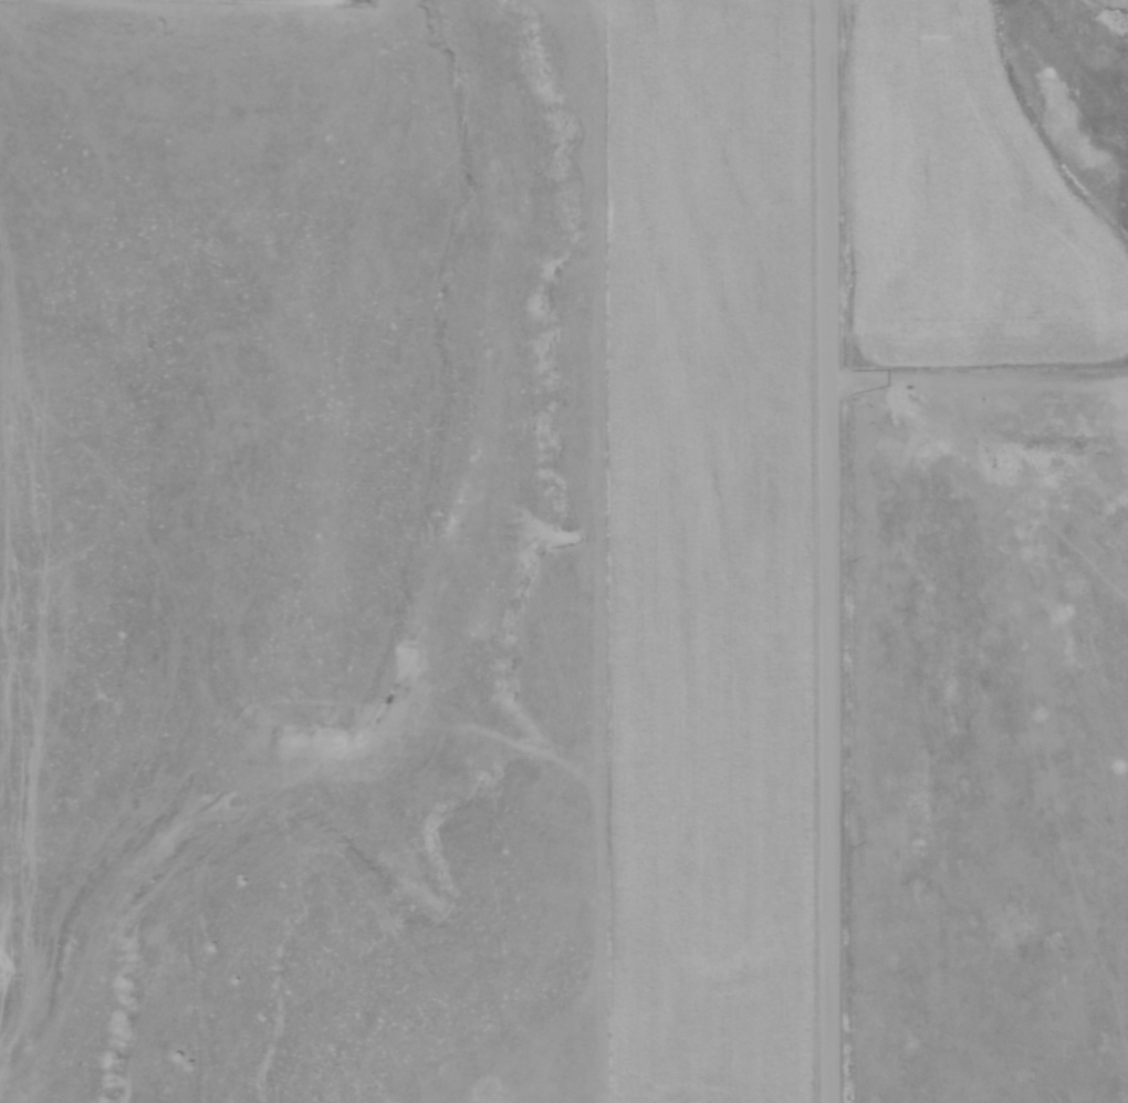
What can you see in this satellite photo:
road: (831, 551)

